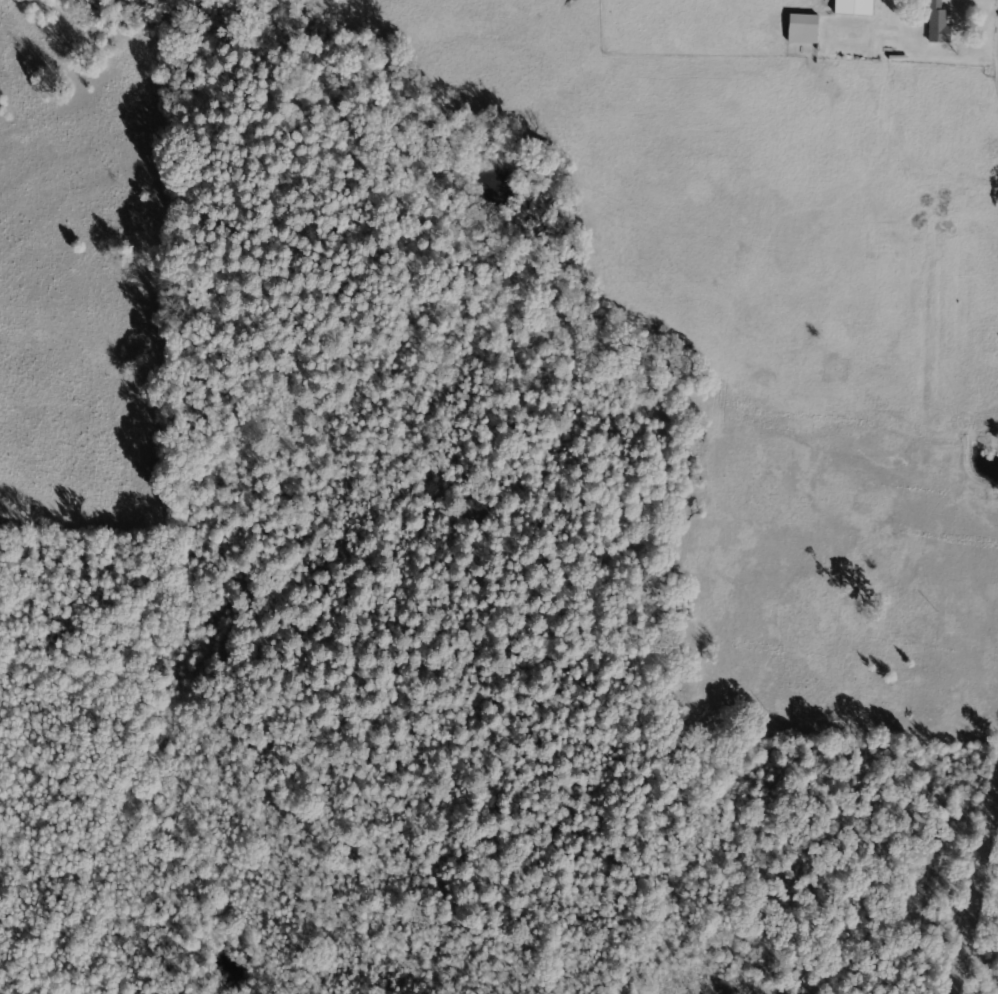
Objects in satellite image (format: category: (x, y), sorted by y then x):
building: (853, 7)
building: (938, 23)
building: (803, 29)

